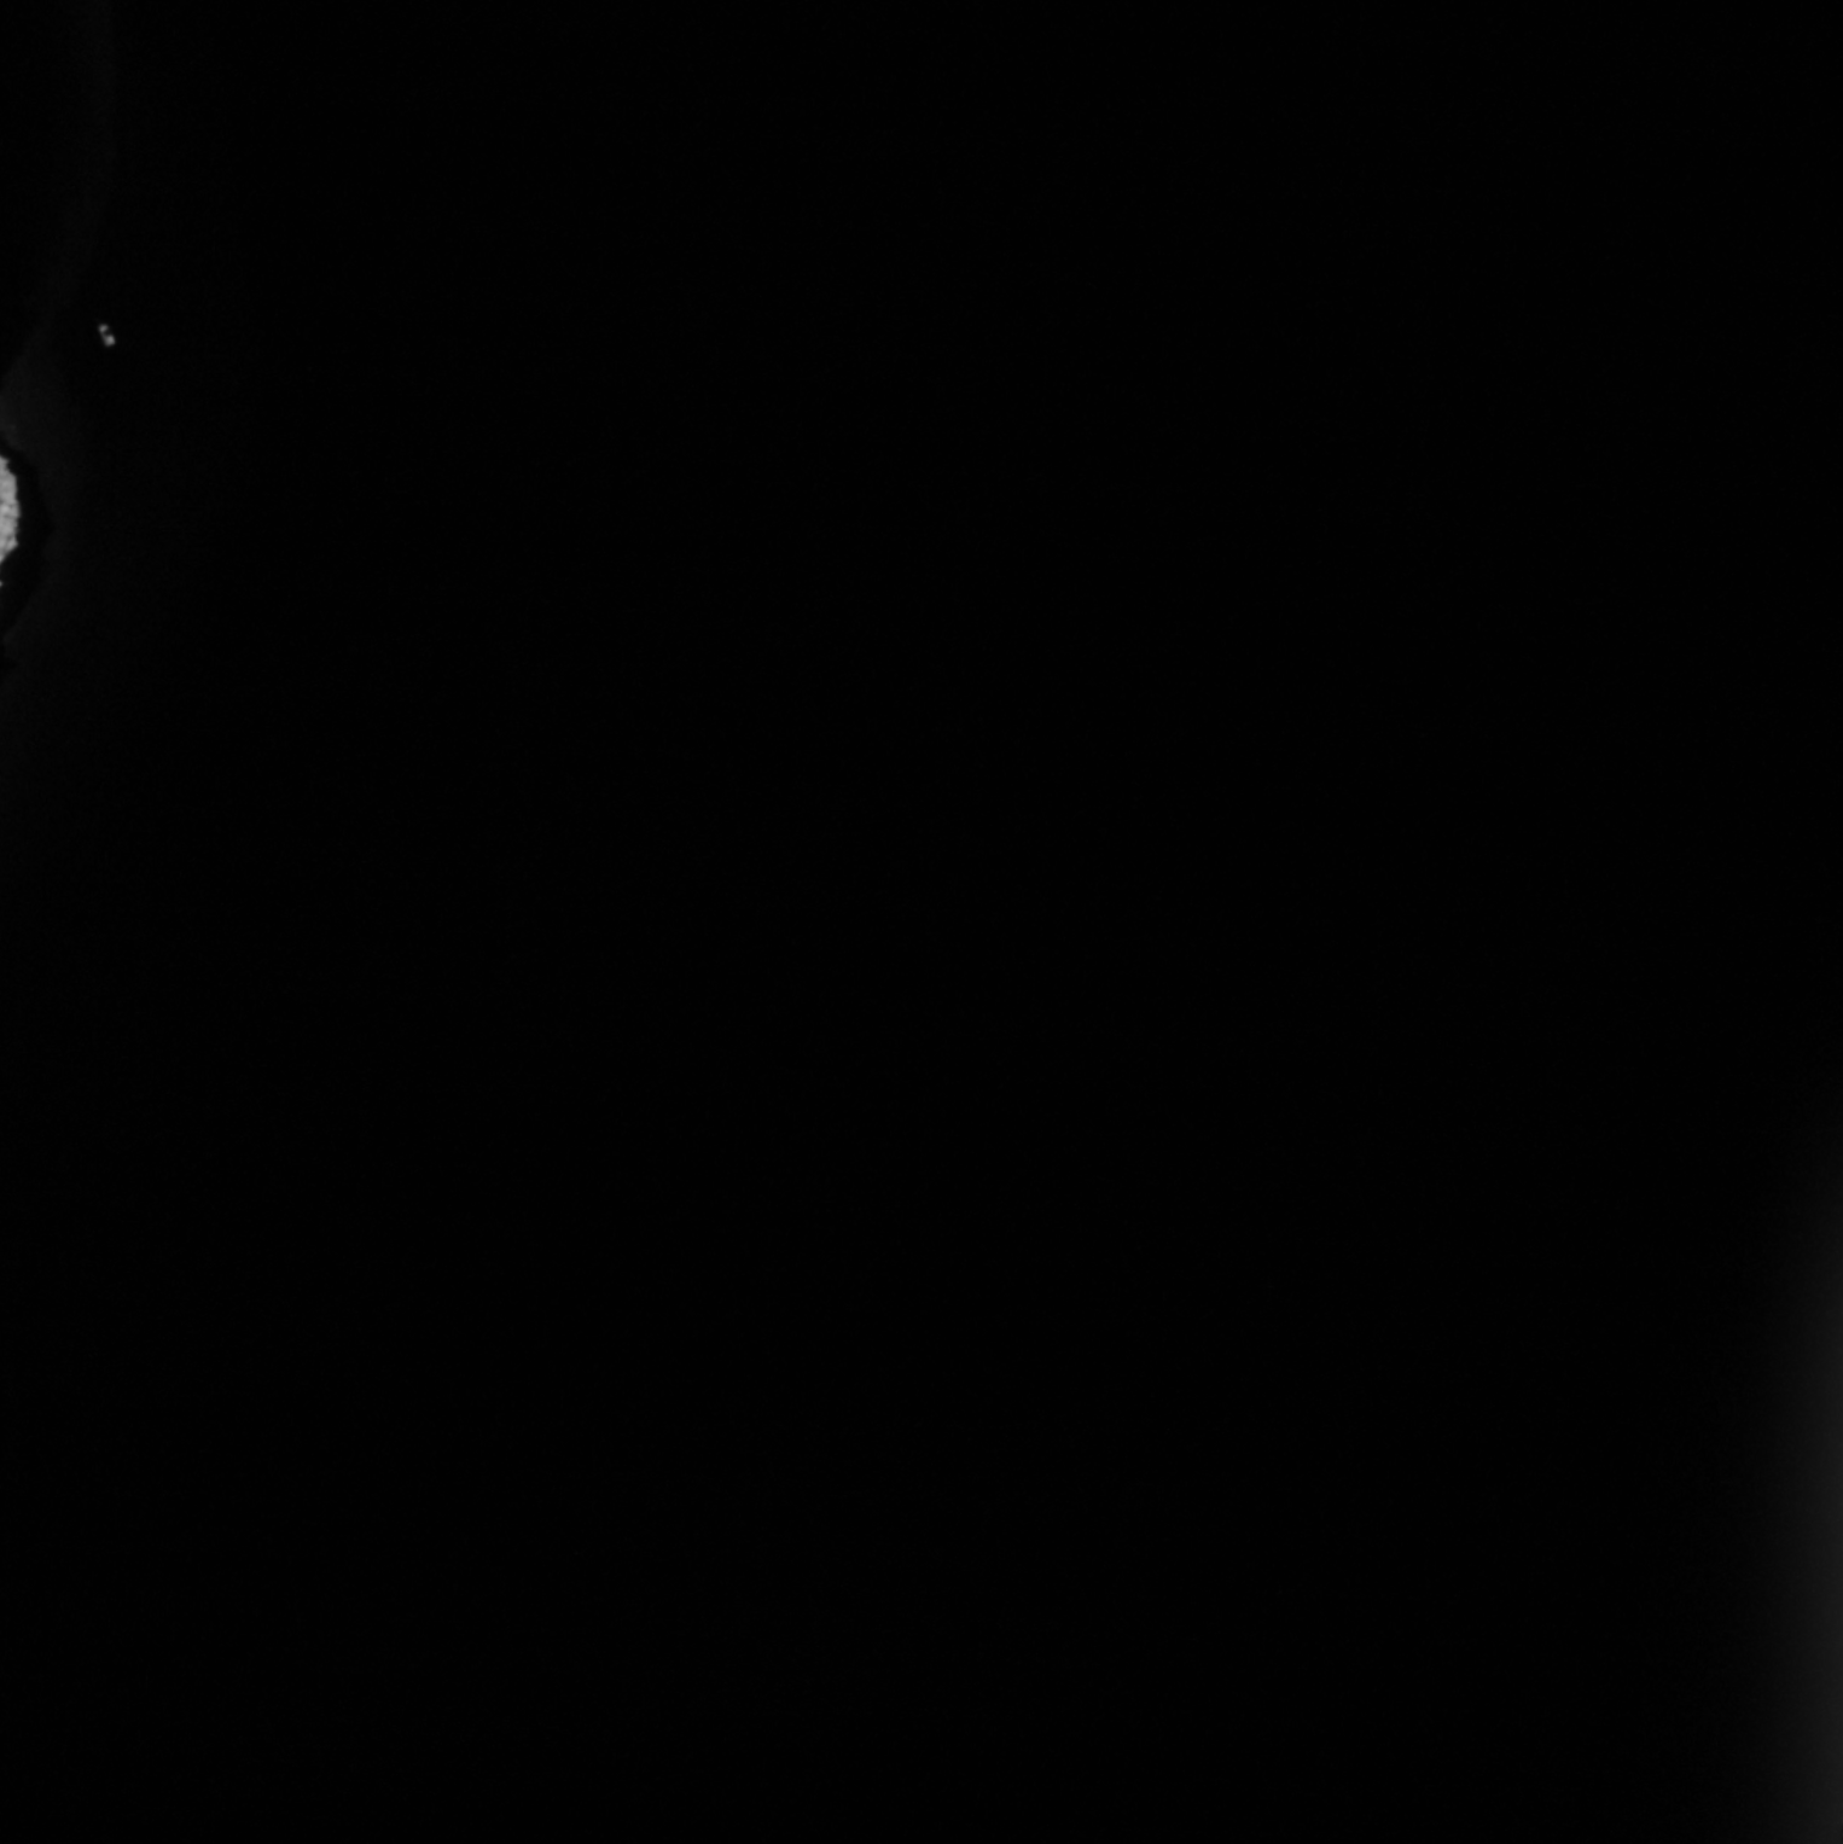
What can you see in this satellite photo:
river: (1585, 1687)

